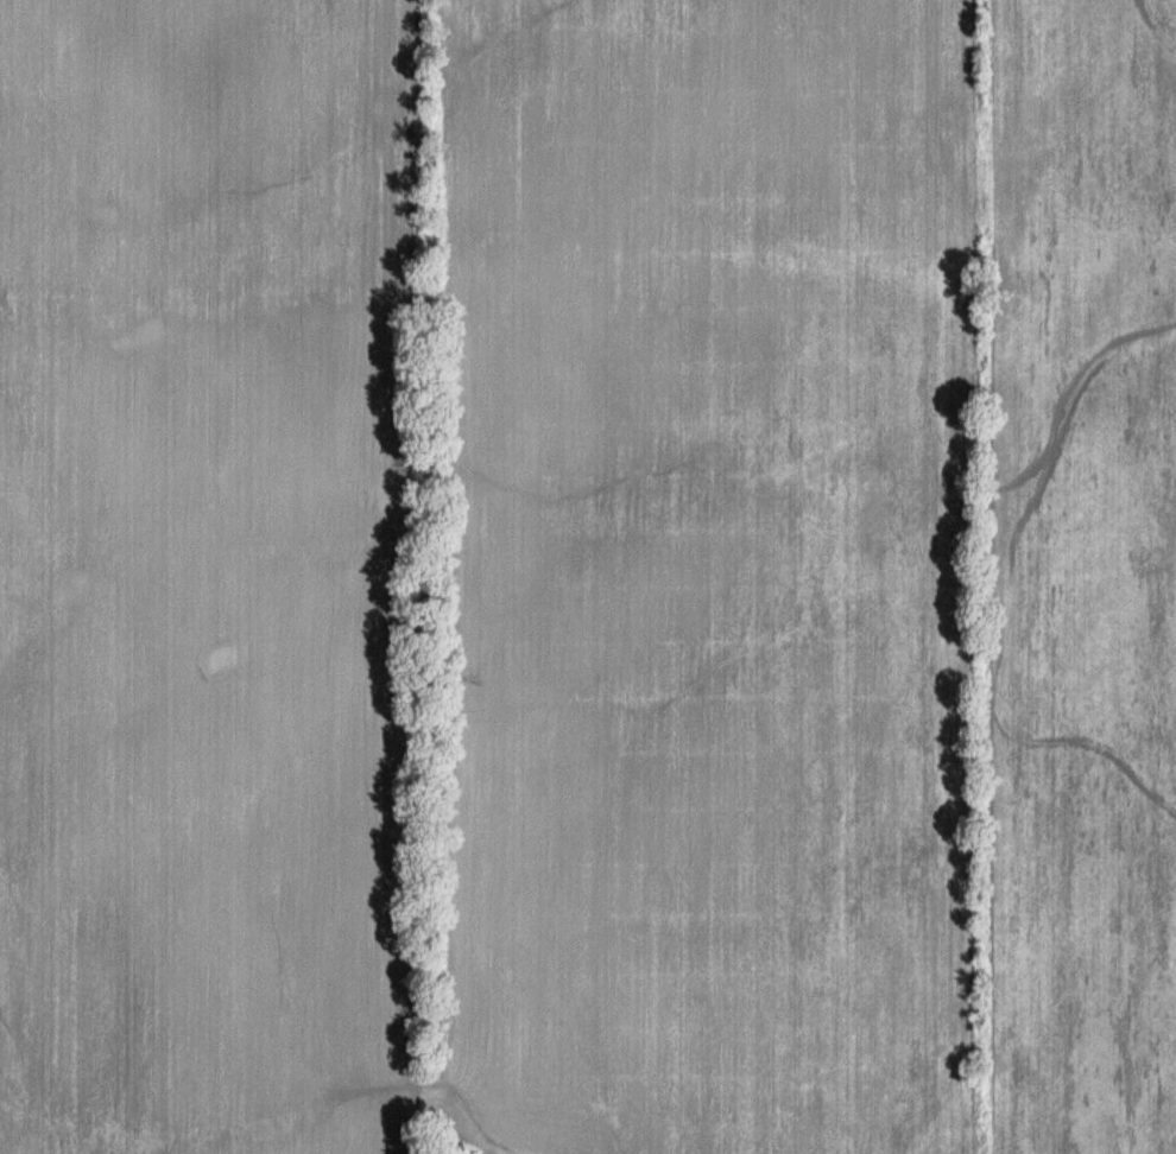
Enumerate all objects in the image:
crop: (588, 577)

